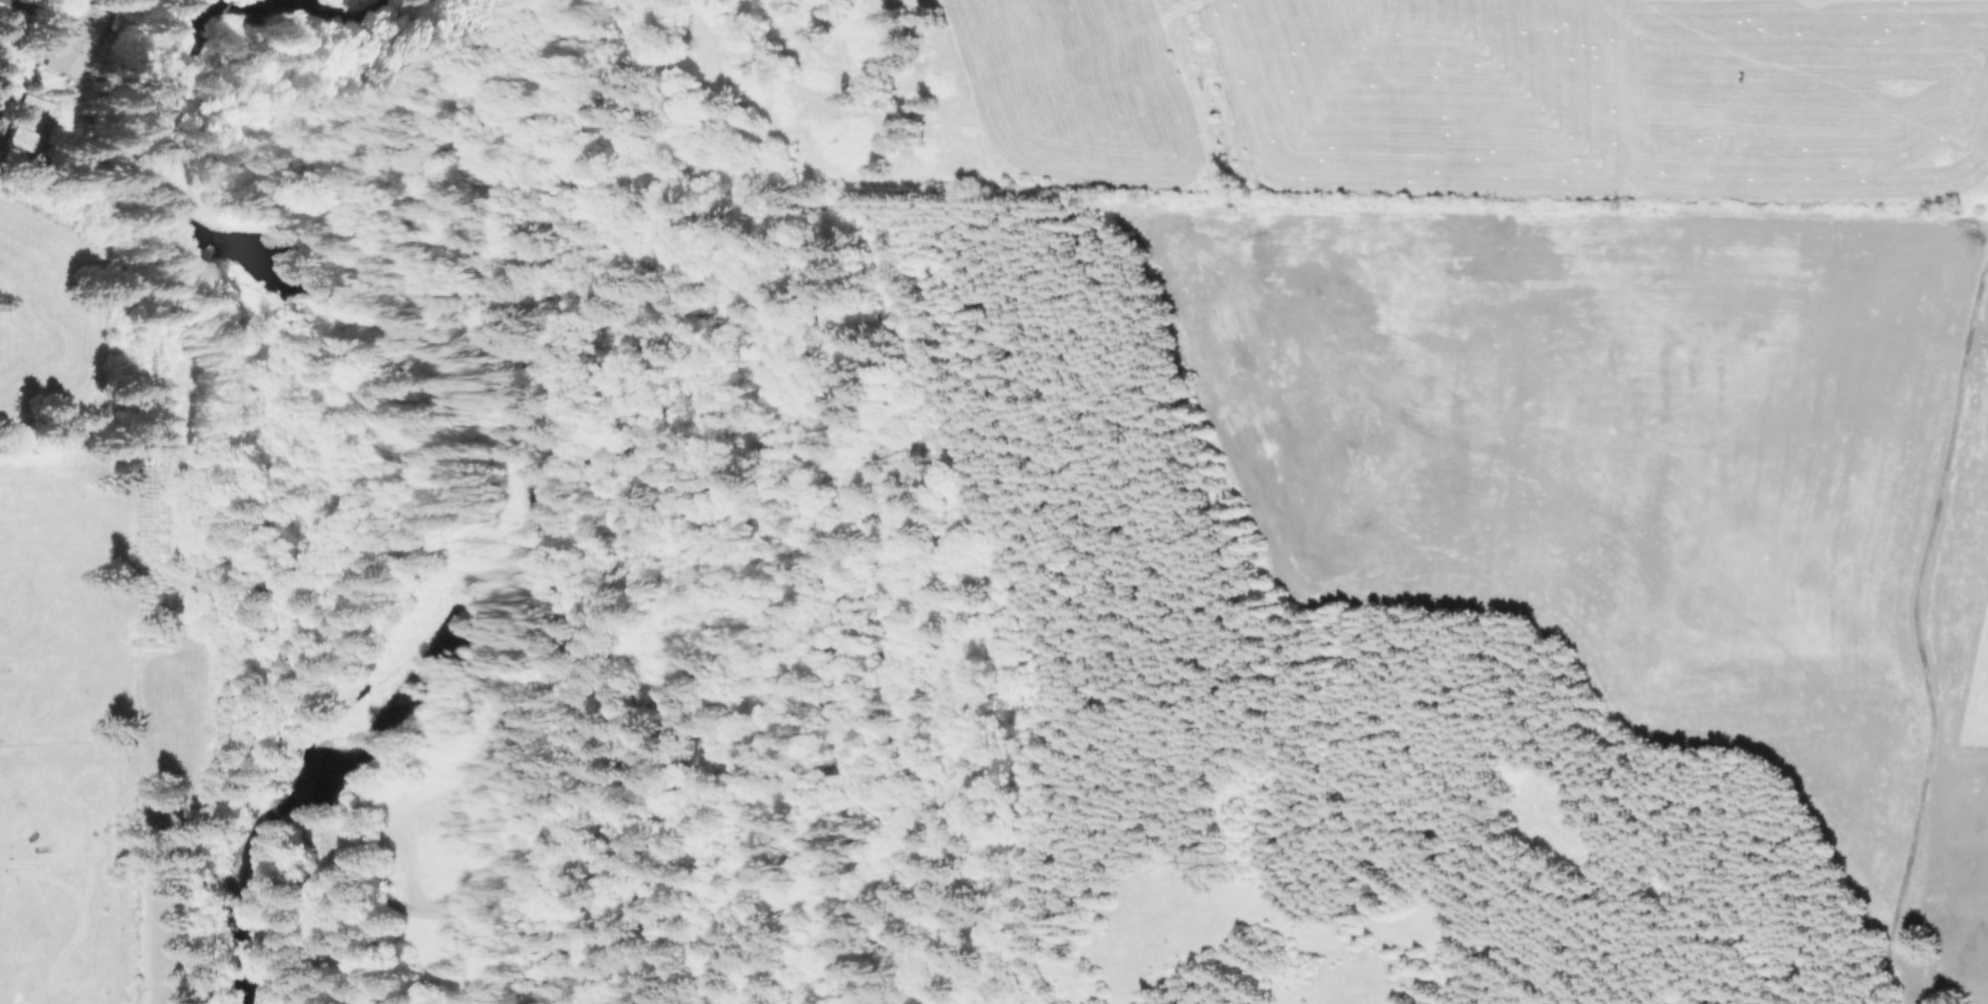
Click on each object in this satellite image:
building: (68, 40)
building: (29, 124)
road: (1915, 625)
building: (378, 703)
building: (357, 747)

